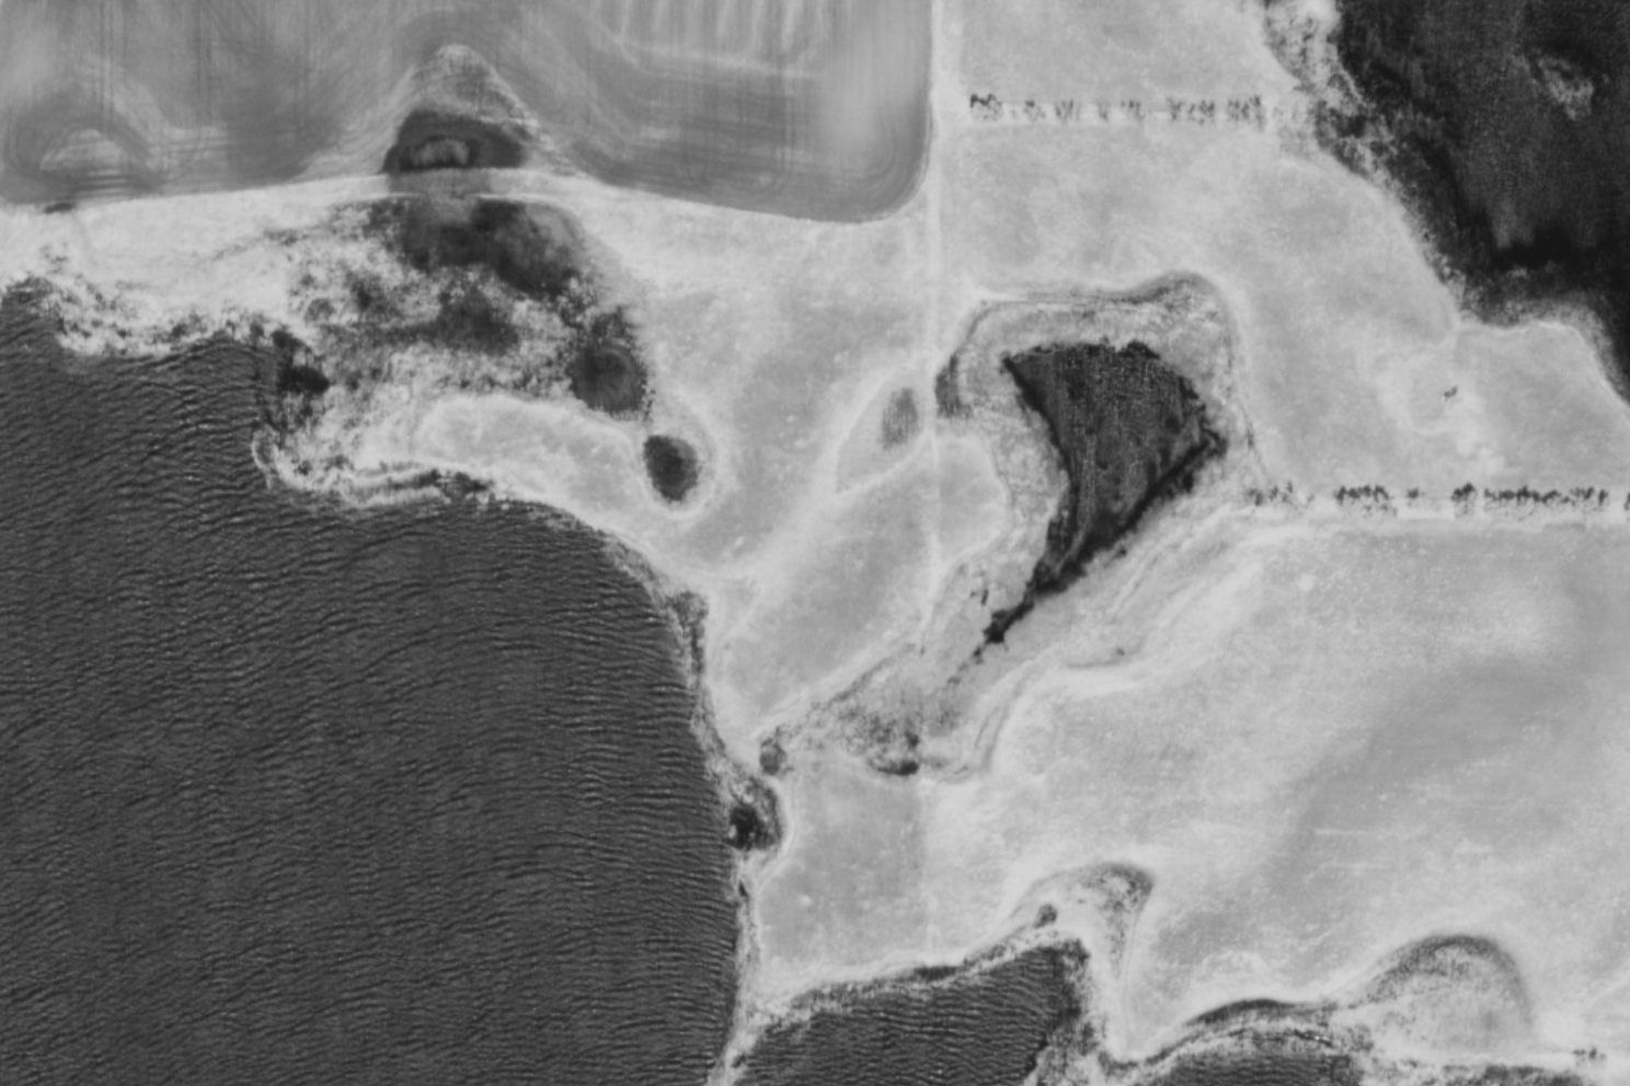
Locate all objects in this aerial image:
road: (0, 2)

